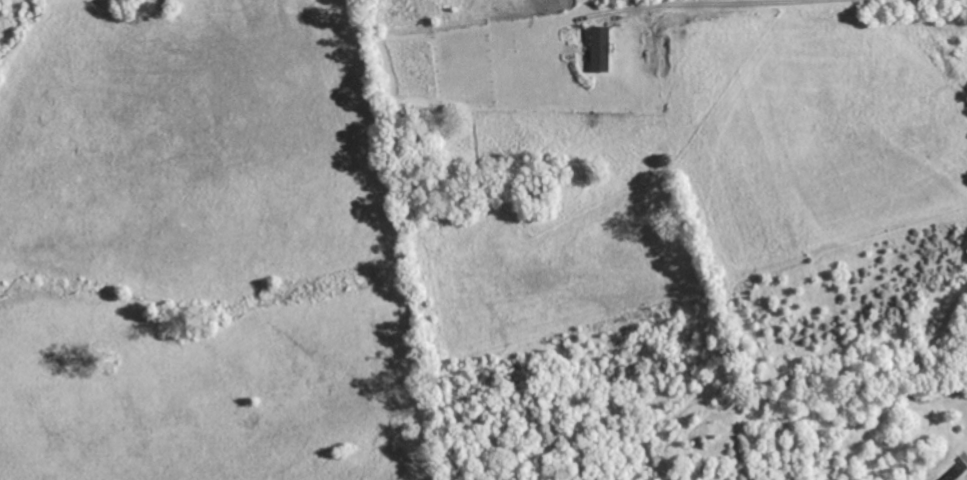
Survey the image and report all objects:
road: (651, 2)
building: (600, 49)

